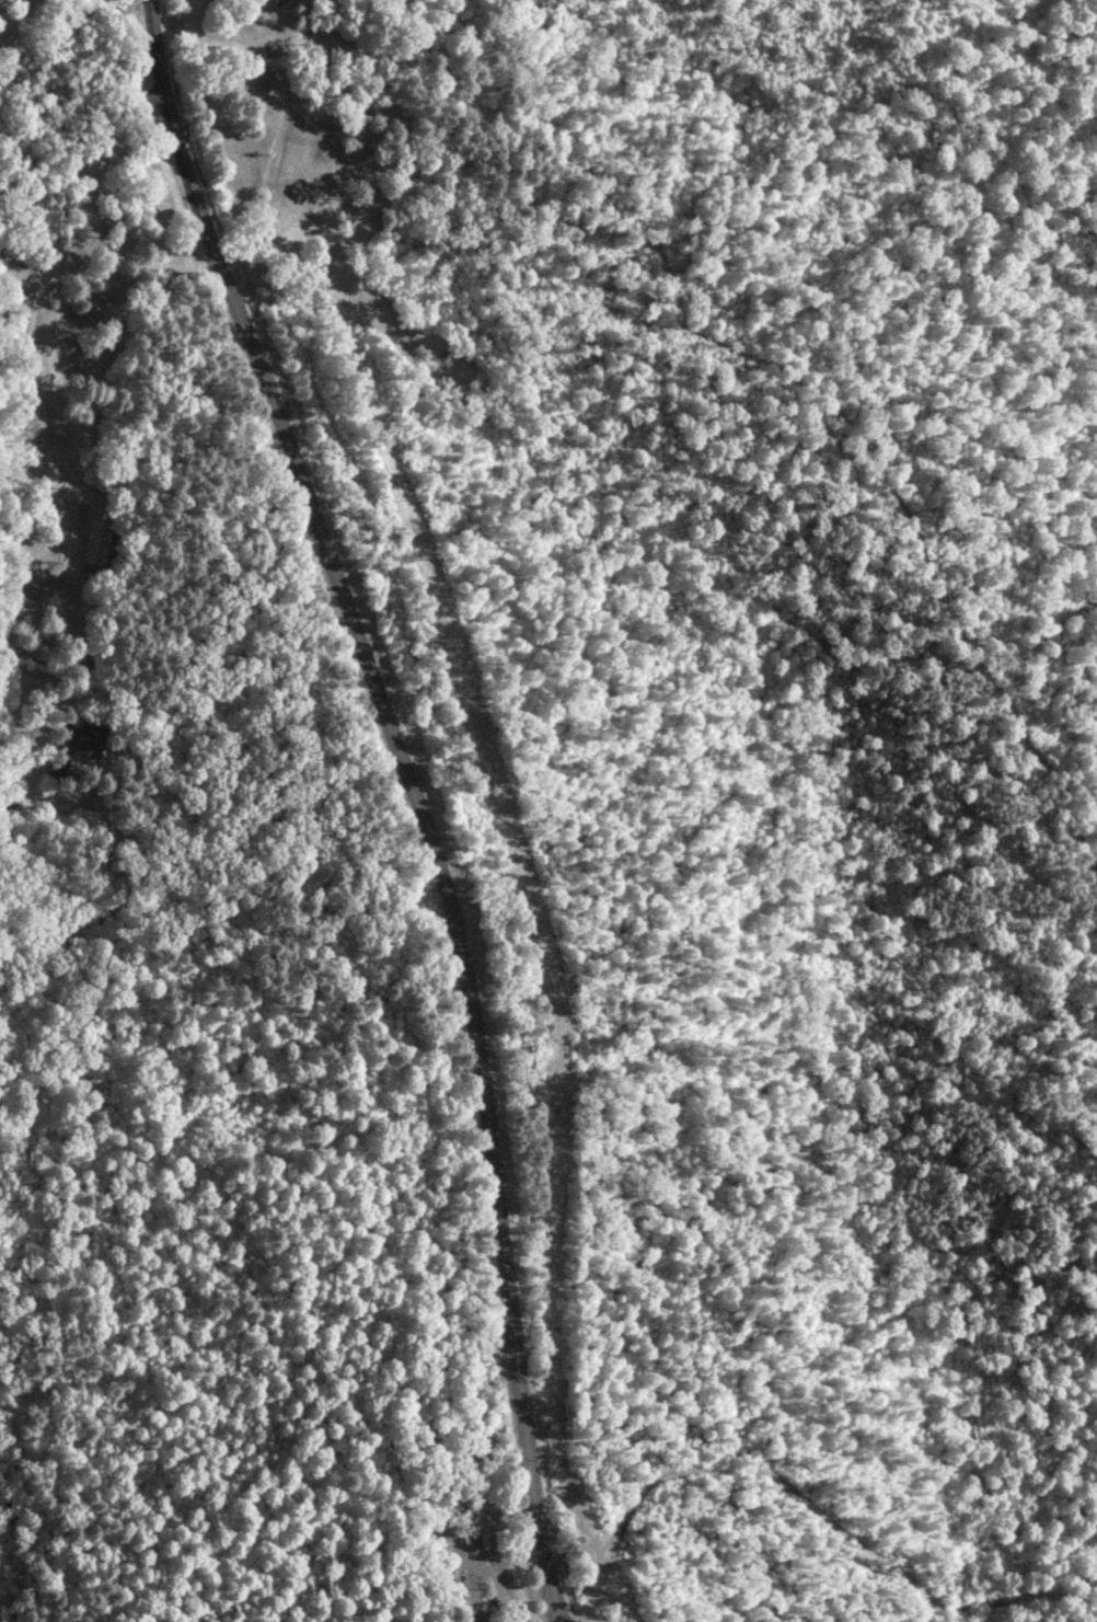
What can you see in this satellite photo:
road: (20, 26)
road: (24, 330)
road: (11, 735)
road: (409, 796)

